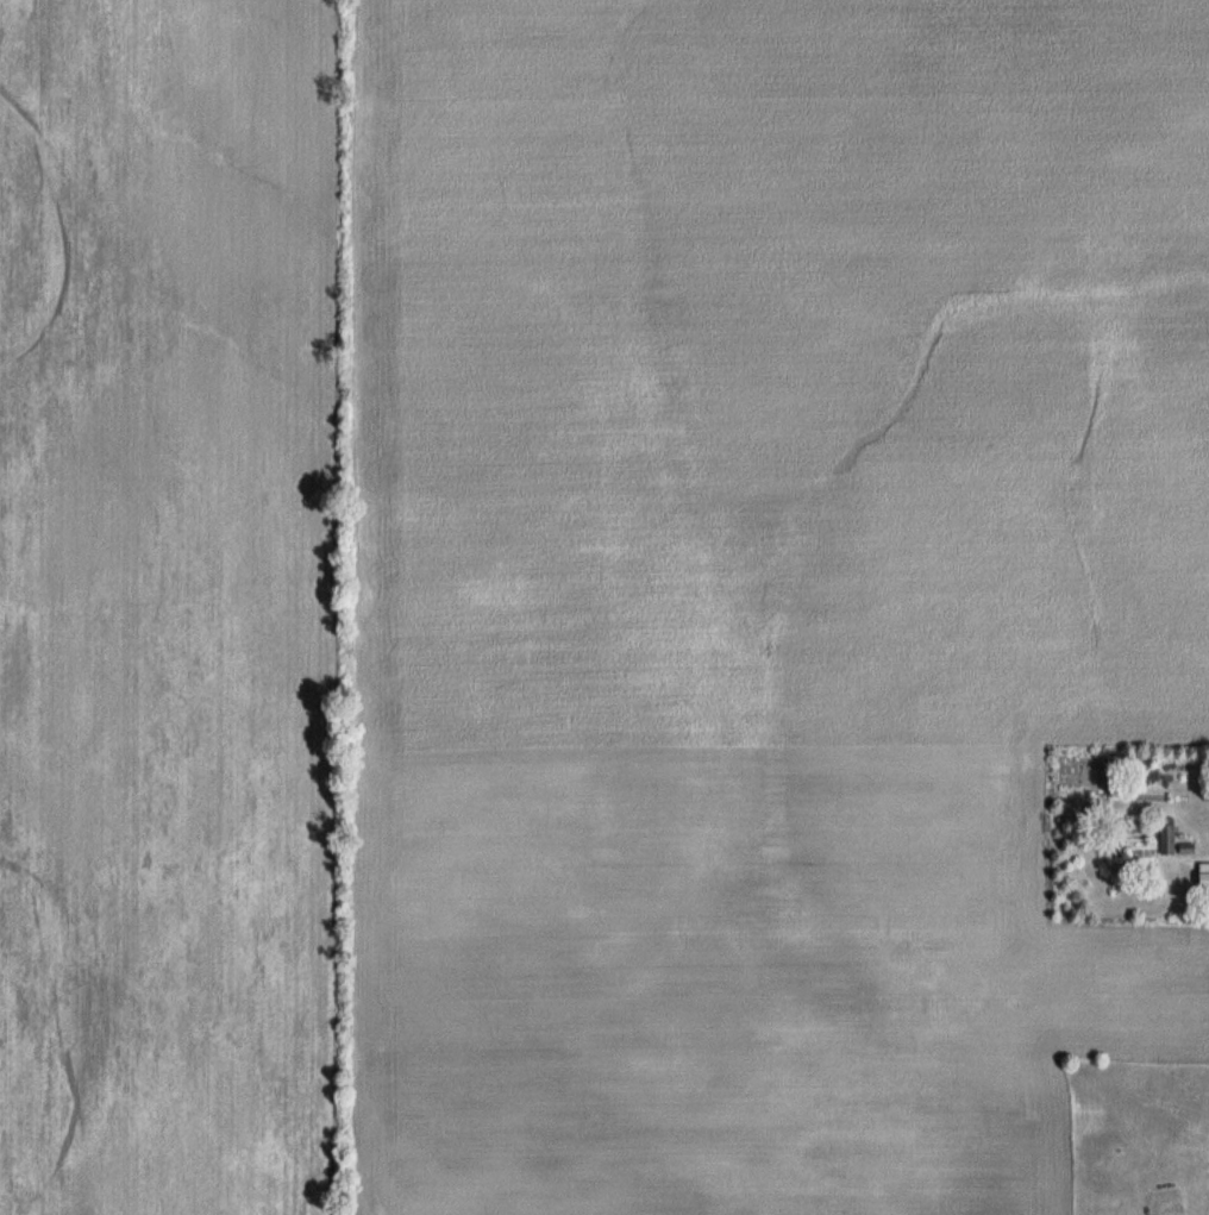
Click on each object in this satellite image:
crop: (584, 594)
building: (1169, 839)
building: (1204, 879)

